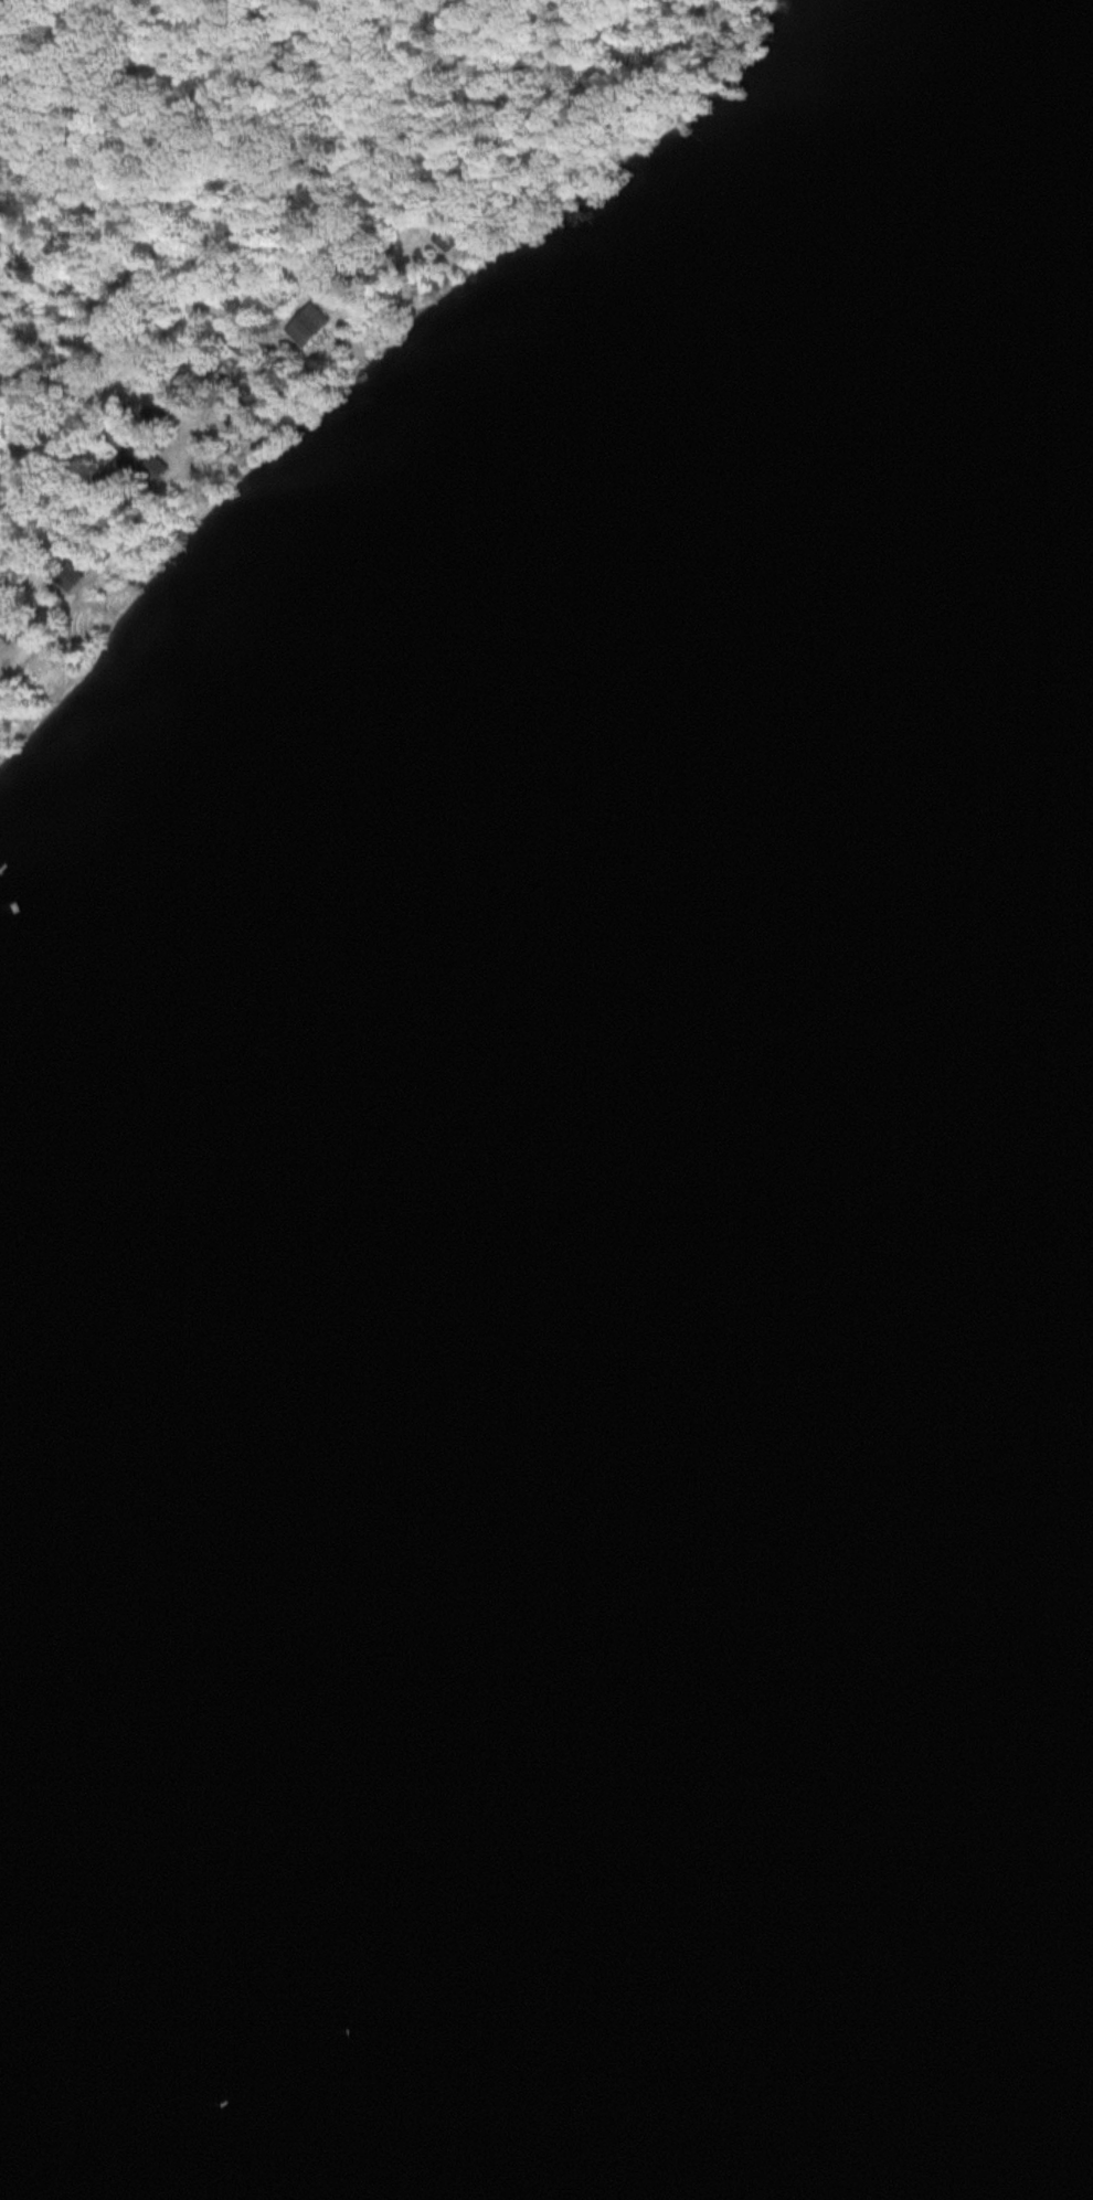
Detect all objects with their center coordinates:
road: (73, 195)
building: (444, 236)
road: (152, 253)
road: (359, 258)
building: (304, 323)
building: (237, 341)
building: (210, 369)
road: (65, 382)
building: (128, 461)
building: (68, 576)
building: (8, 627)

